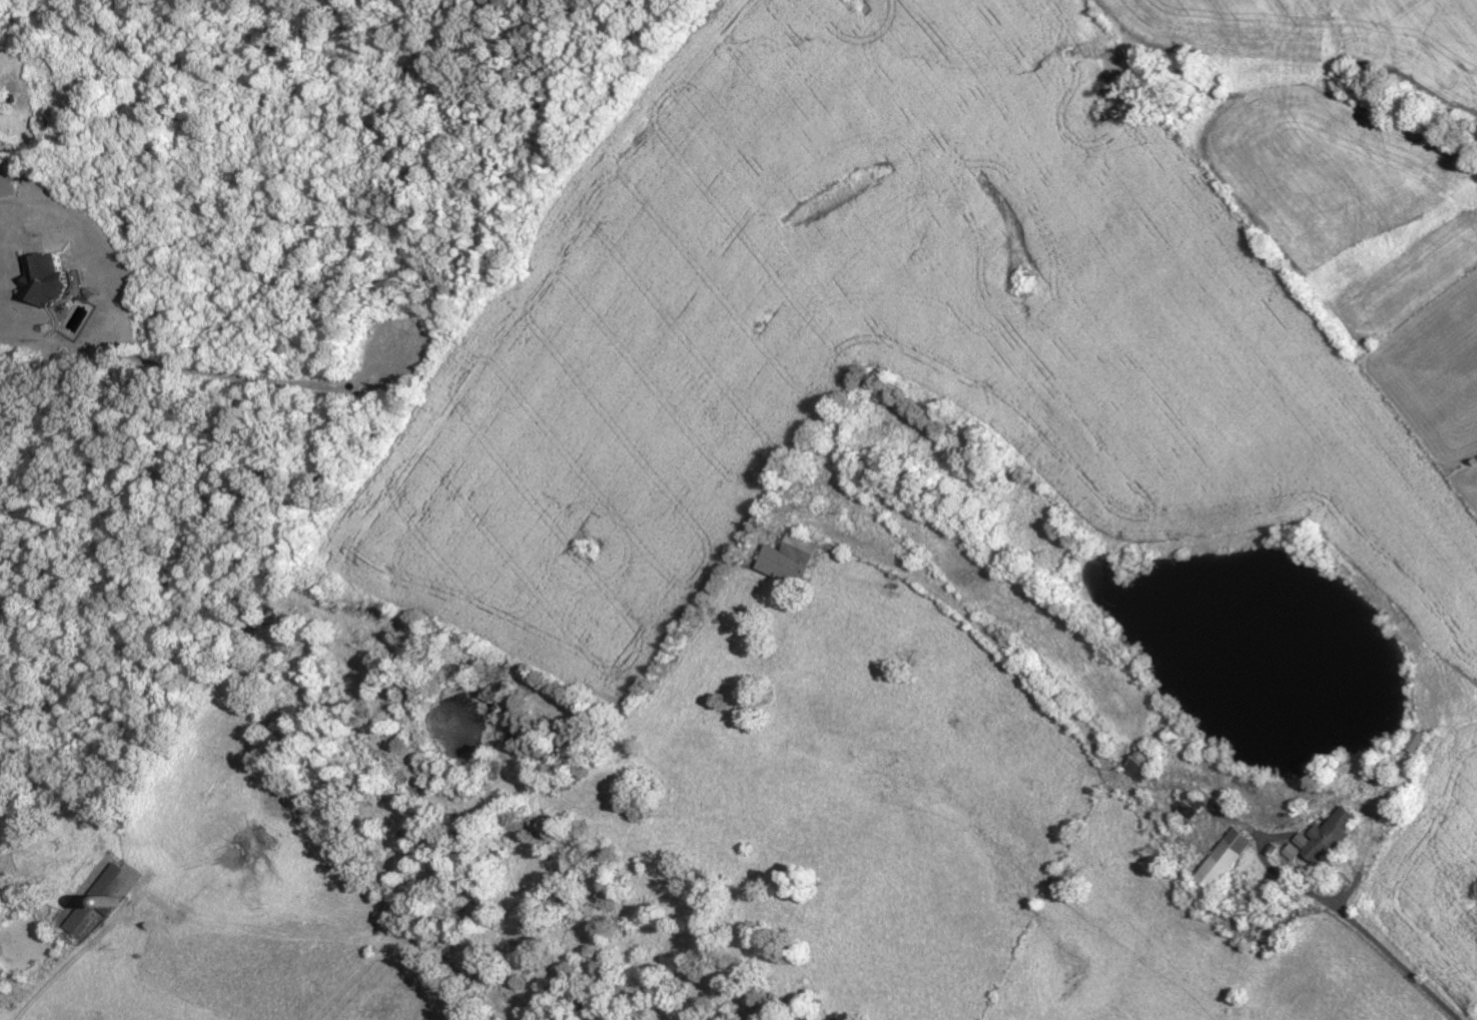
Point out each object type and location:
building: (7, 182)
road: (3, 212)
building: (44, 279)
building: (791, 561)
building: (1418, 741)
building: (1143, 764)
building: (1330, 835)
building: (1296, 852)
building: (1228, 859)
road: (1398, 962)

